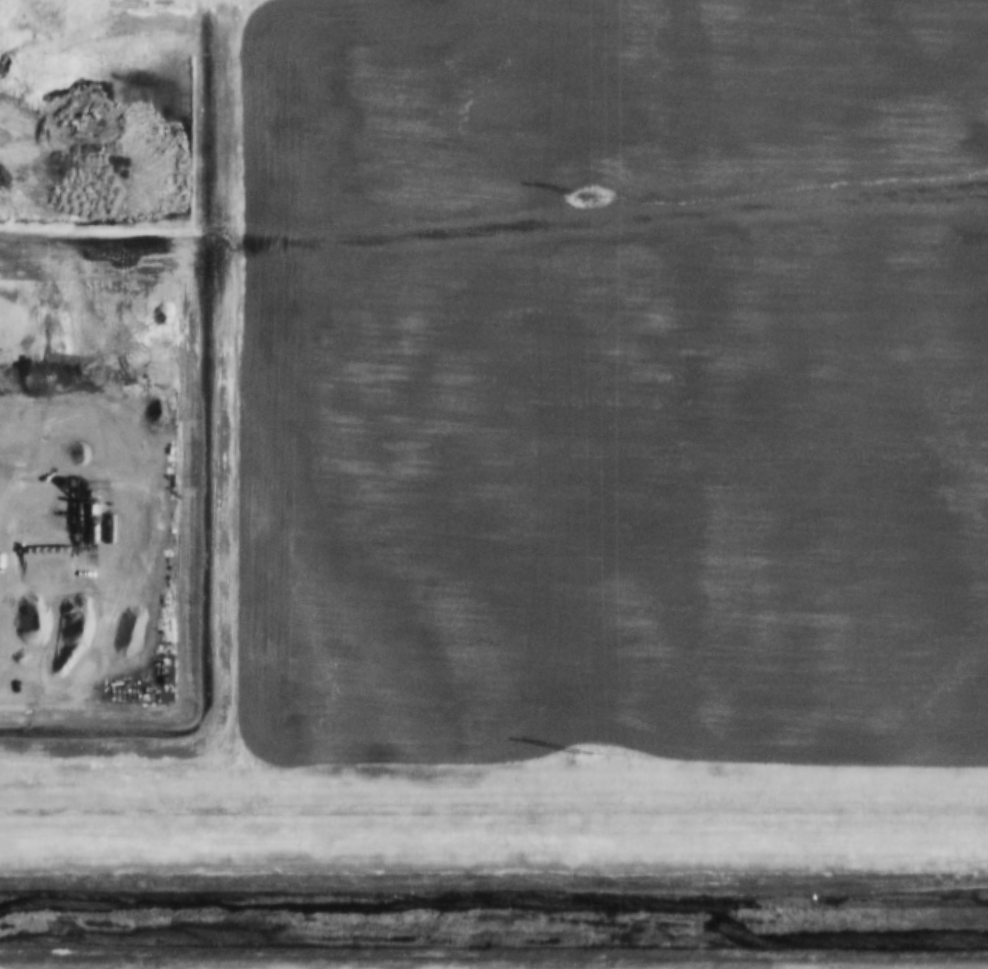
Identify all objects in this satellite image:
power tower: (586, 195)
crop: (612, 376)
power tower: (581, 752)

